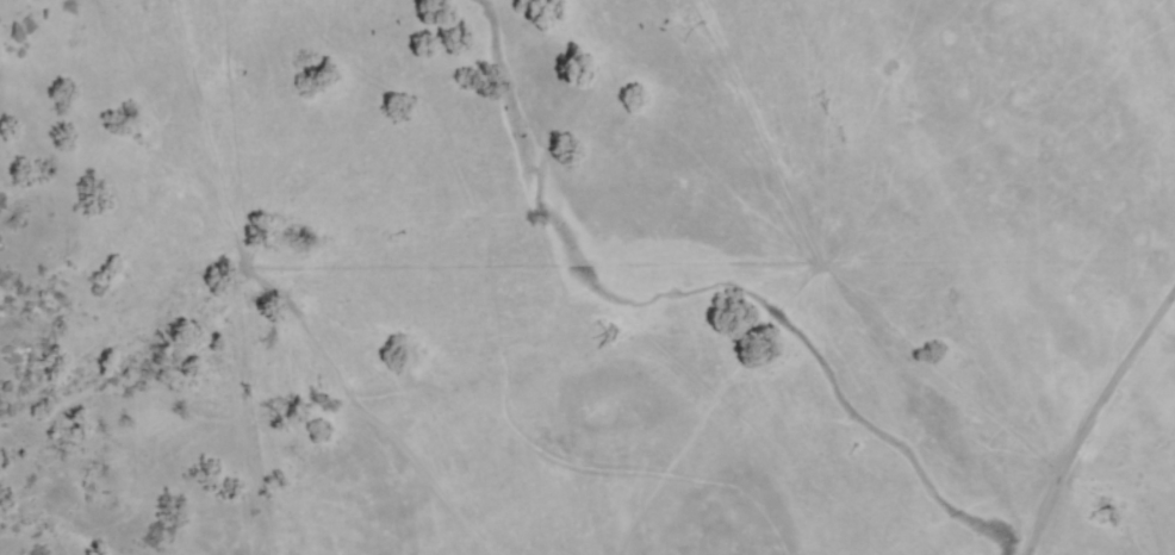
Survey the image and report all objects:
crop: (635, 272)
road: (1098, 424)

